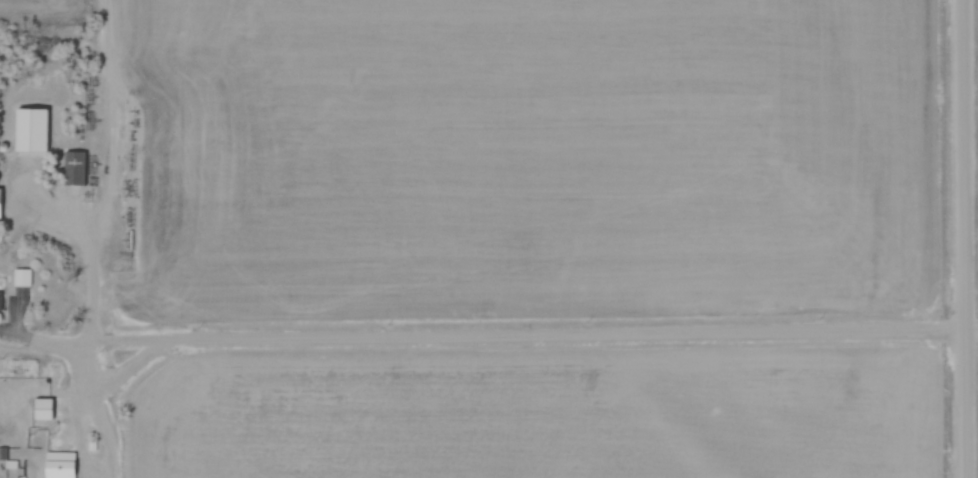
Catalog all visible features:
building: (75, 169)
building: (0, 204)
road: (969, 238)
building: (22, 278)
road: (484, 333)
building: (44, 409)
building: (59, 464)

